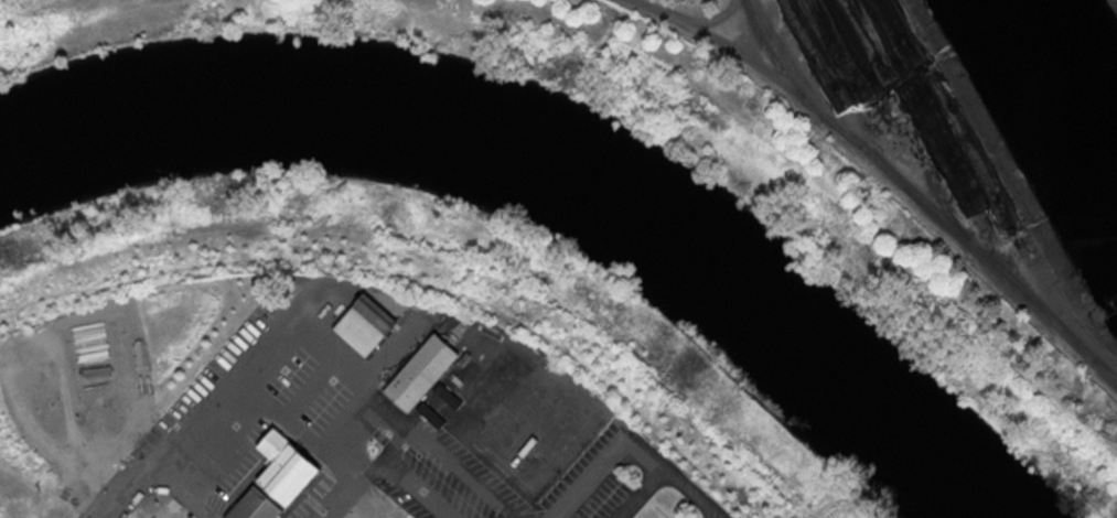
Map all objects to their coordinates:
river: (547, 165)
park: (434, 298)
building: (365, 324)
building: (420, 371)
road: (310, 388)
road: (219, 410)
road: (421, 413)
road: (404, 420)
road: (350, 422)
road: (304, 433)
road: (633, 439)
building: (284, 467)
road: (418, 488)
road: (643, 494)
road: (187, 495)
road: (346, 505)
building: (254, 506)

